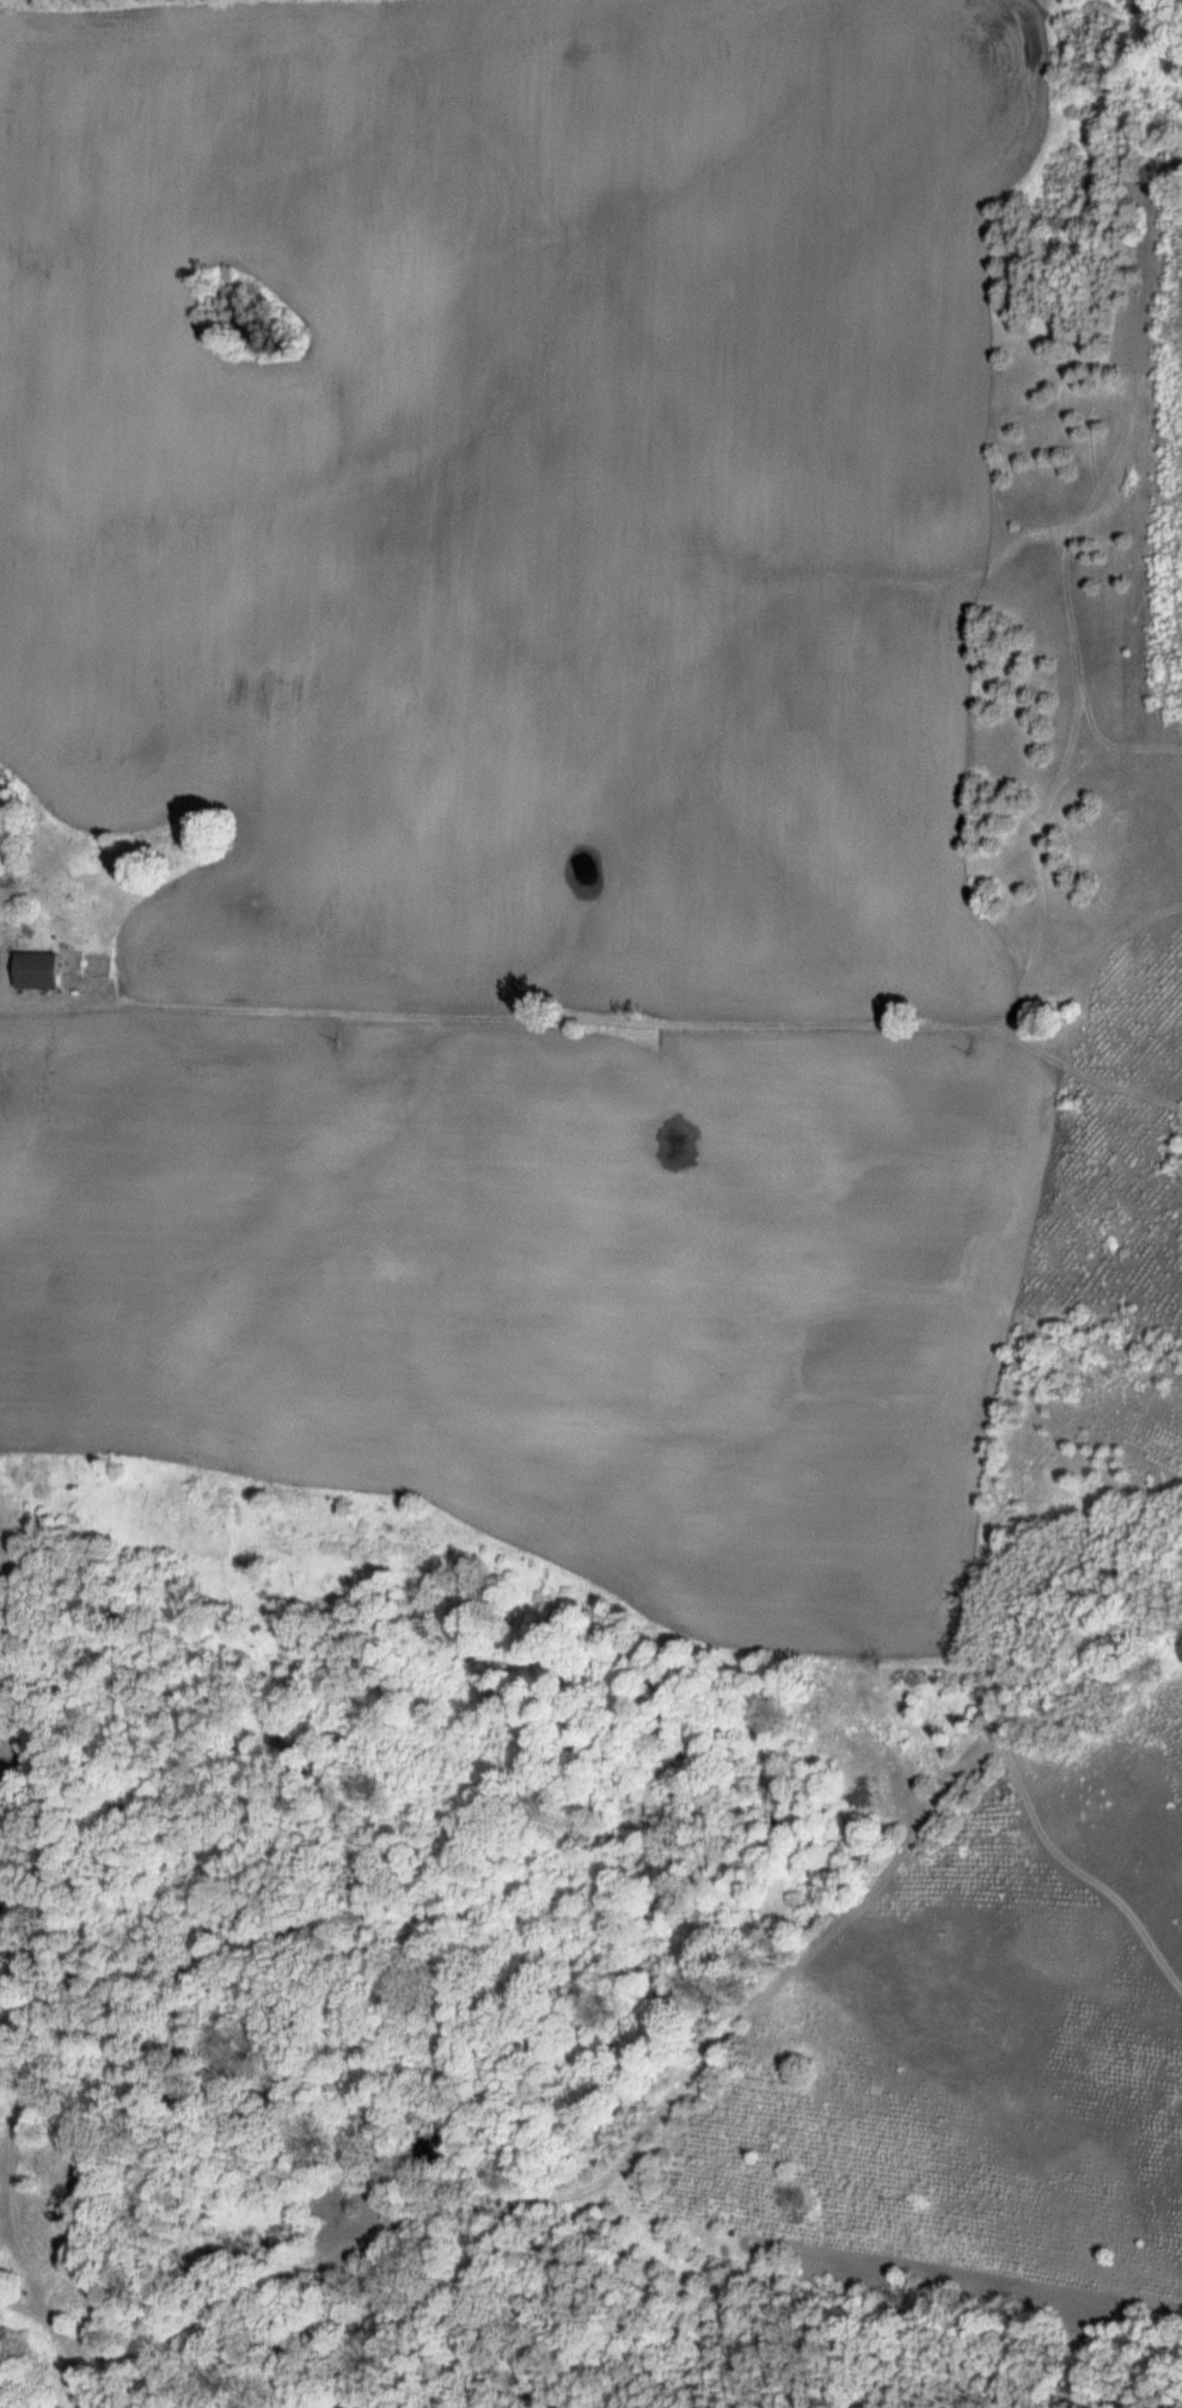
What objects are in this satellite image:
building: (38, 972)

